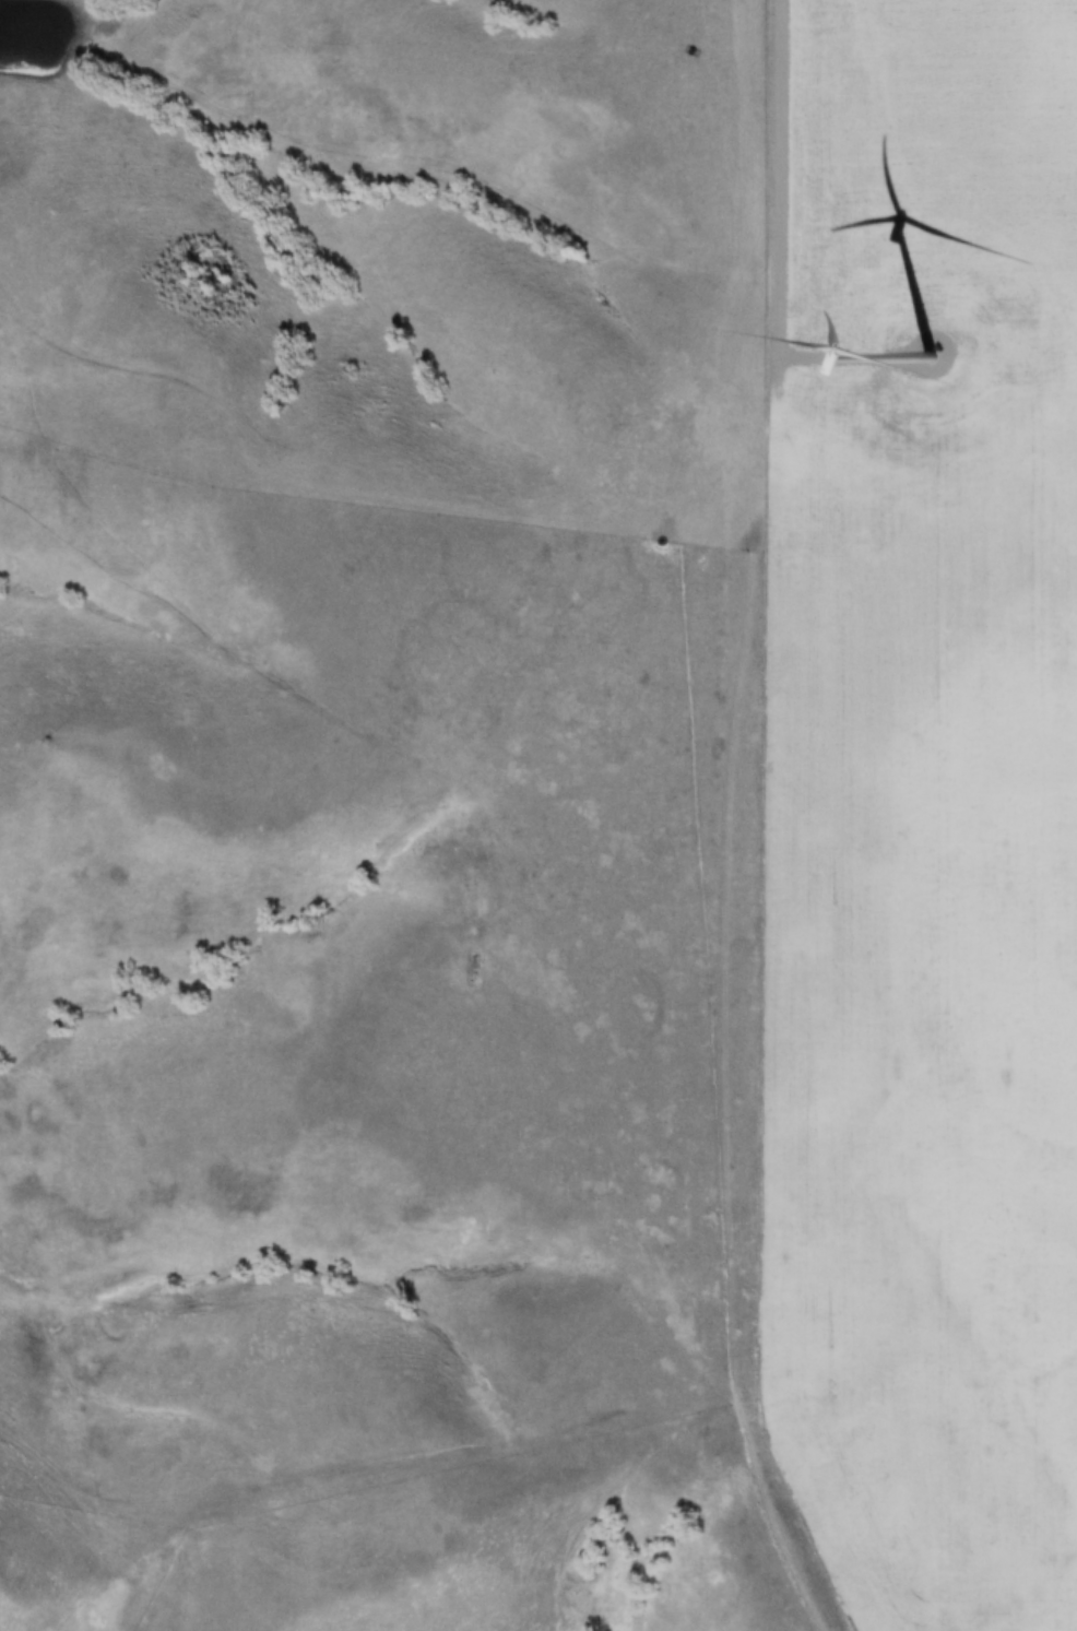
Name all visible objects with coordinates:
road: (779, 232)
wind turbine: (955, 359)

